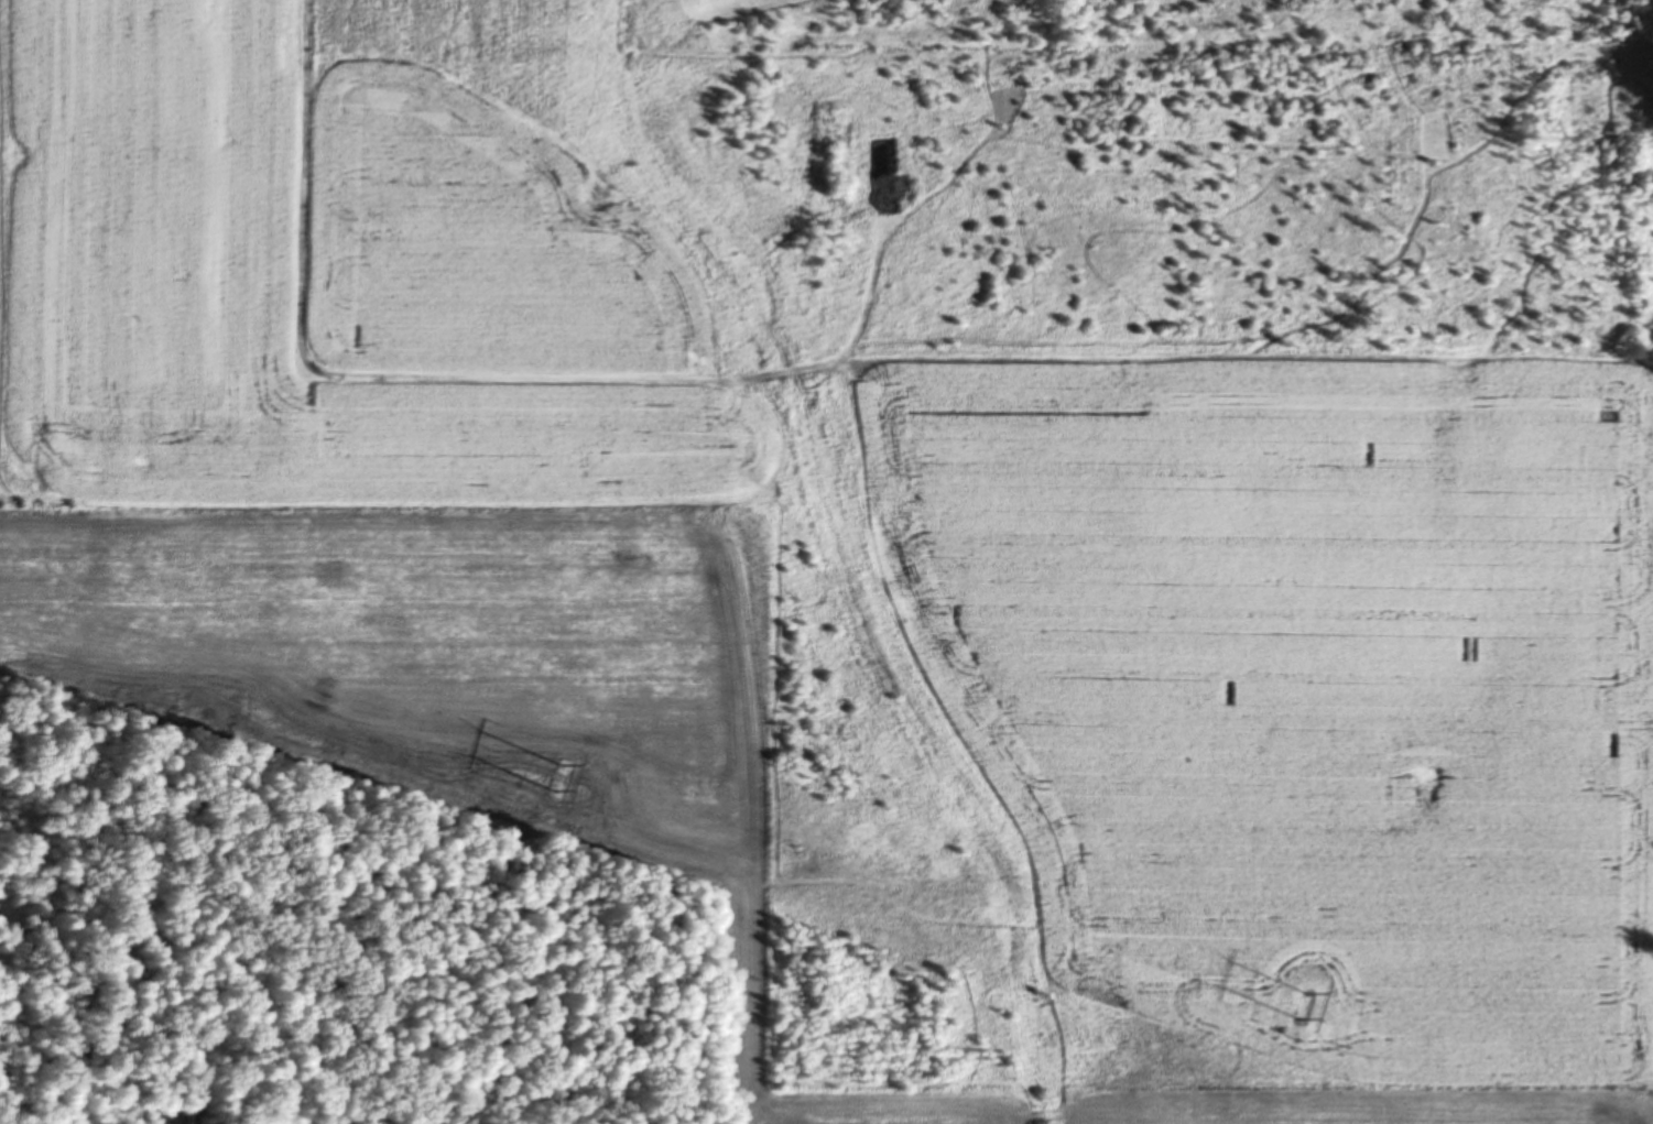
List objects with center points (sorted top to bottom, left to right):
power tower: (557, 775)
power tower: (1301, 1004)

